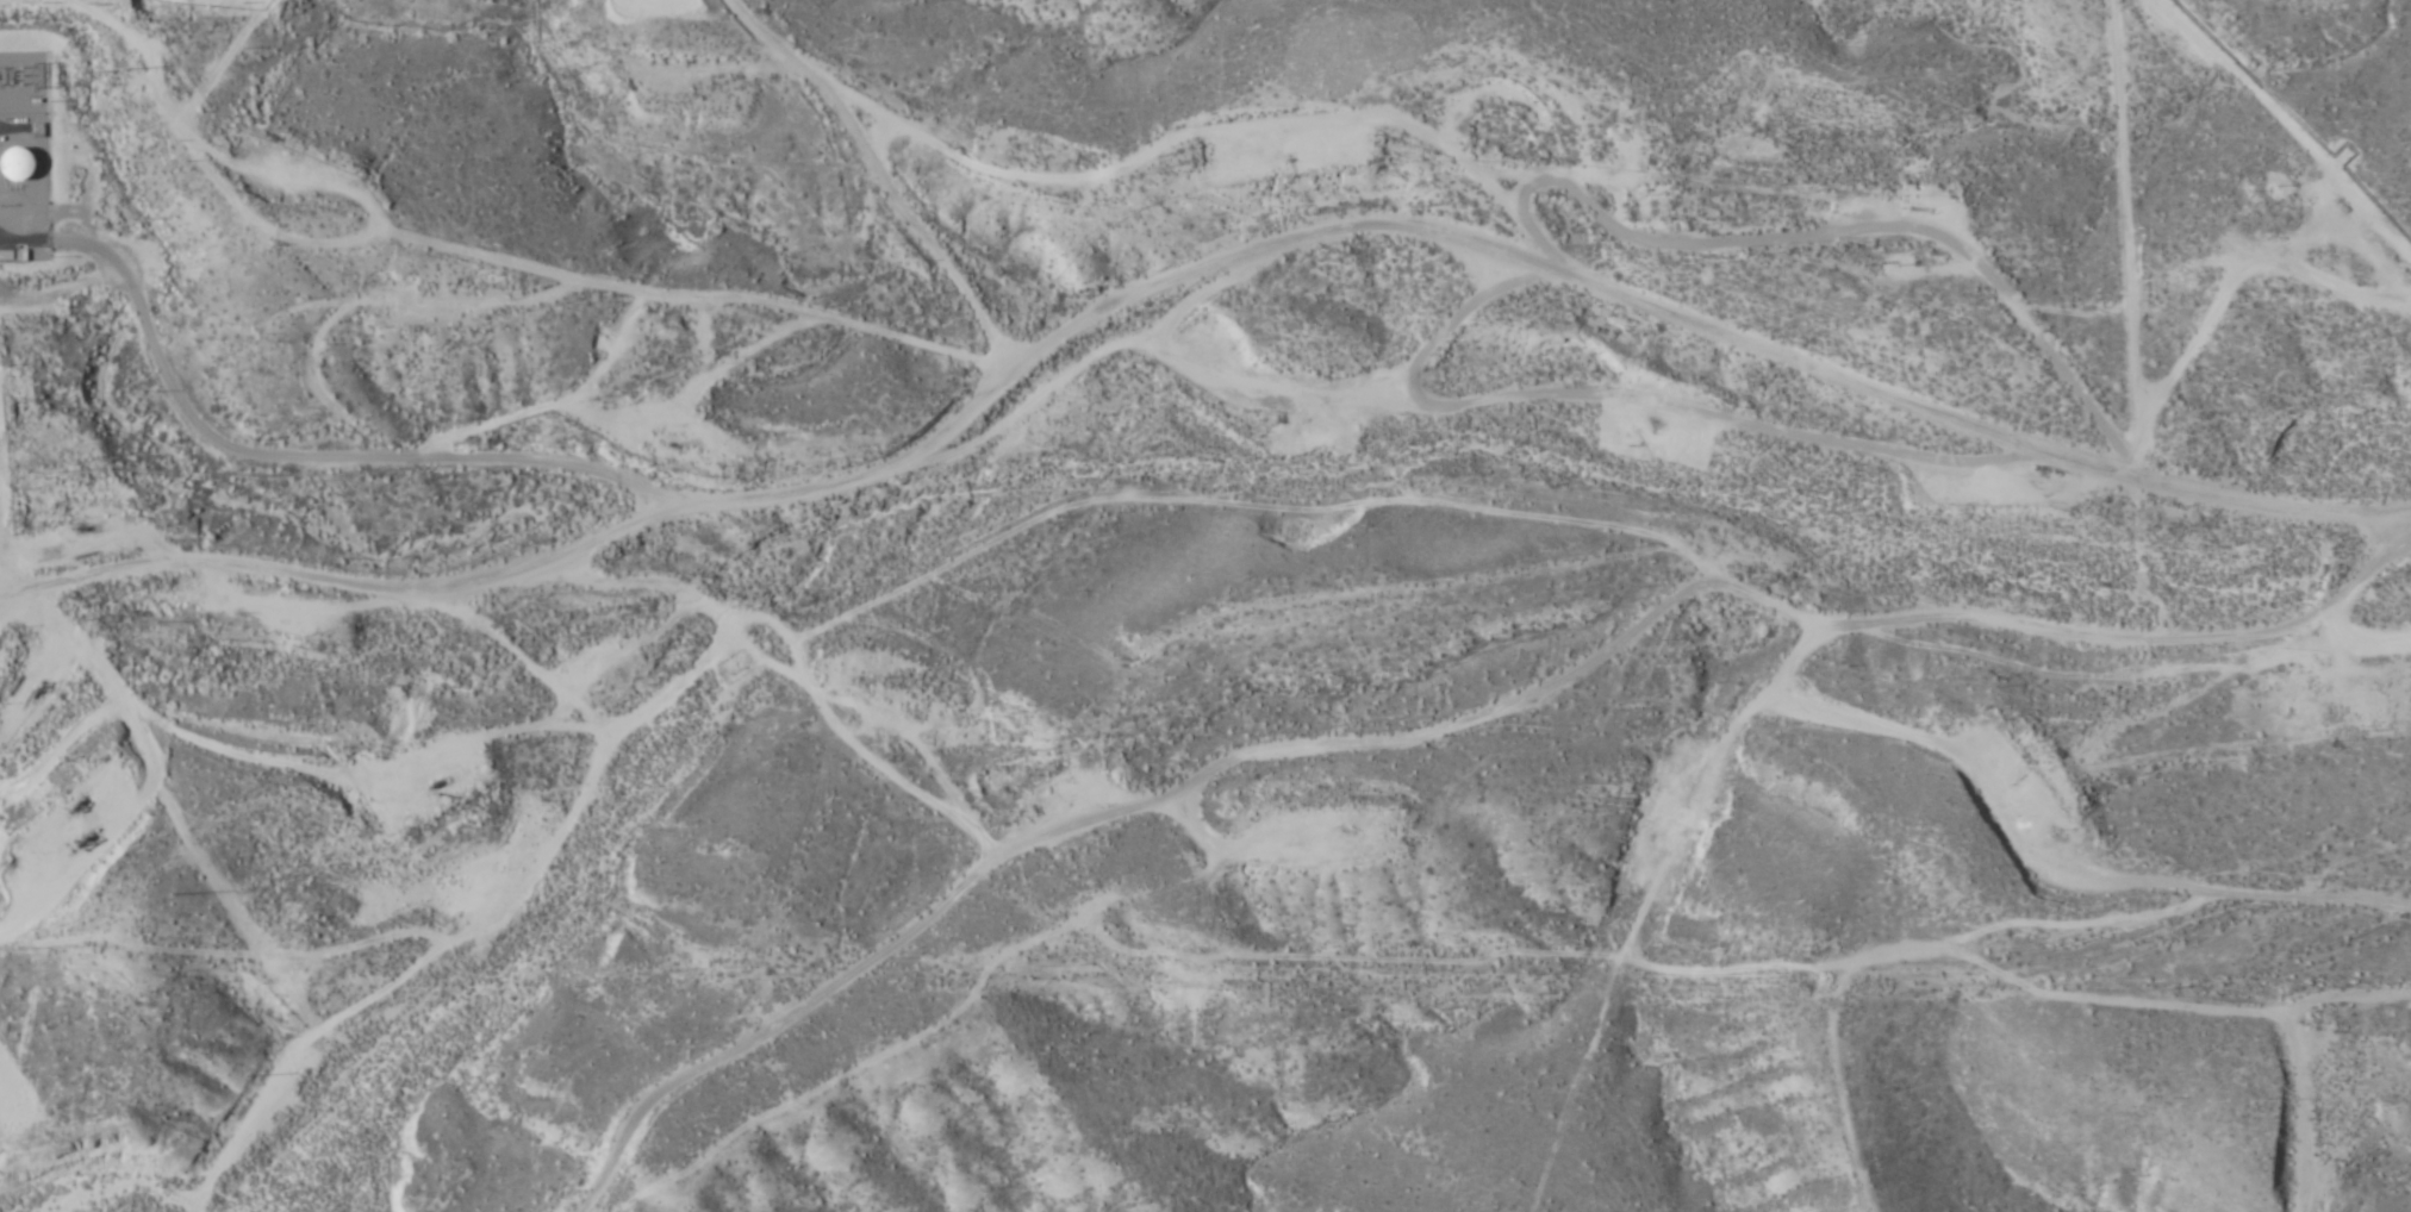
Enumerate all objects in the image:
building: (19, 163)
road: (886, 174)
road: (1190, 269)
road: (1, 577)

